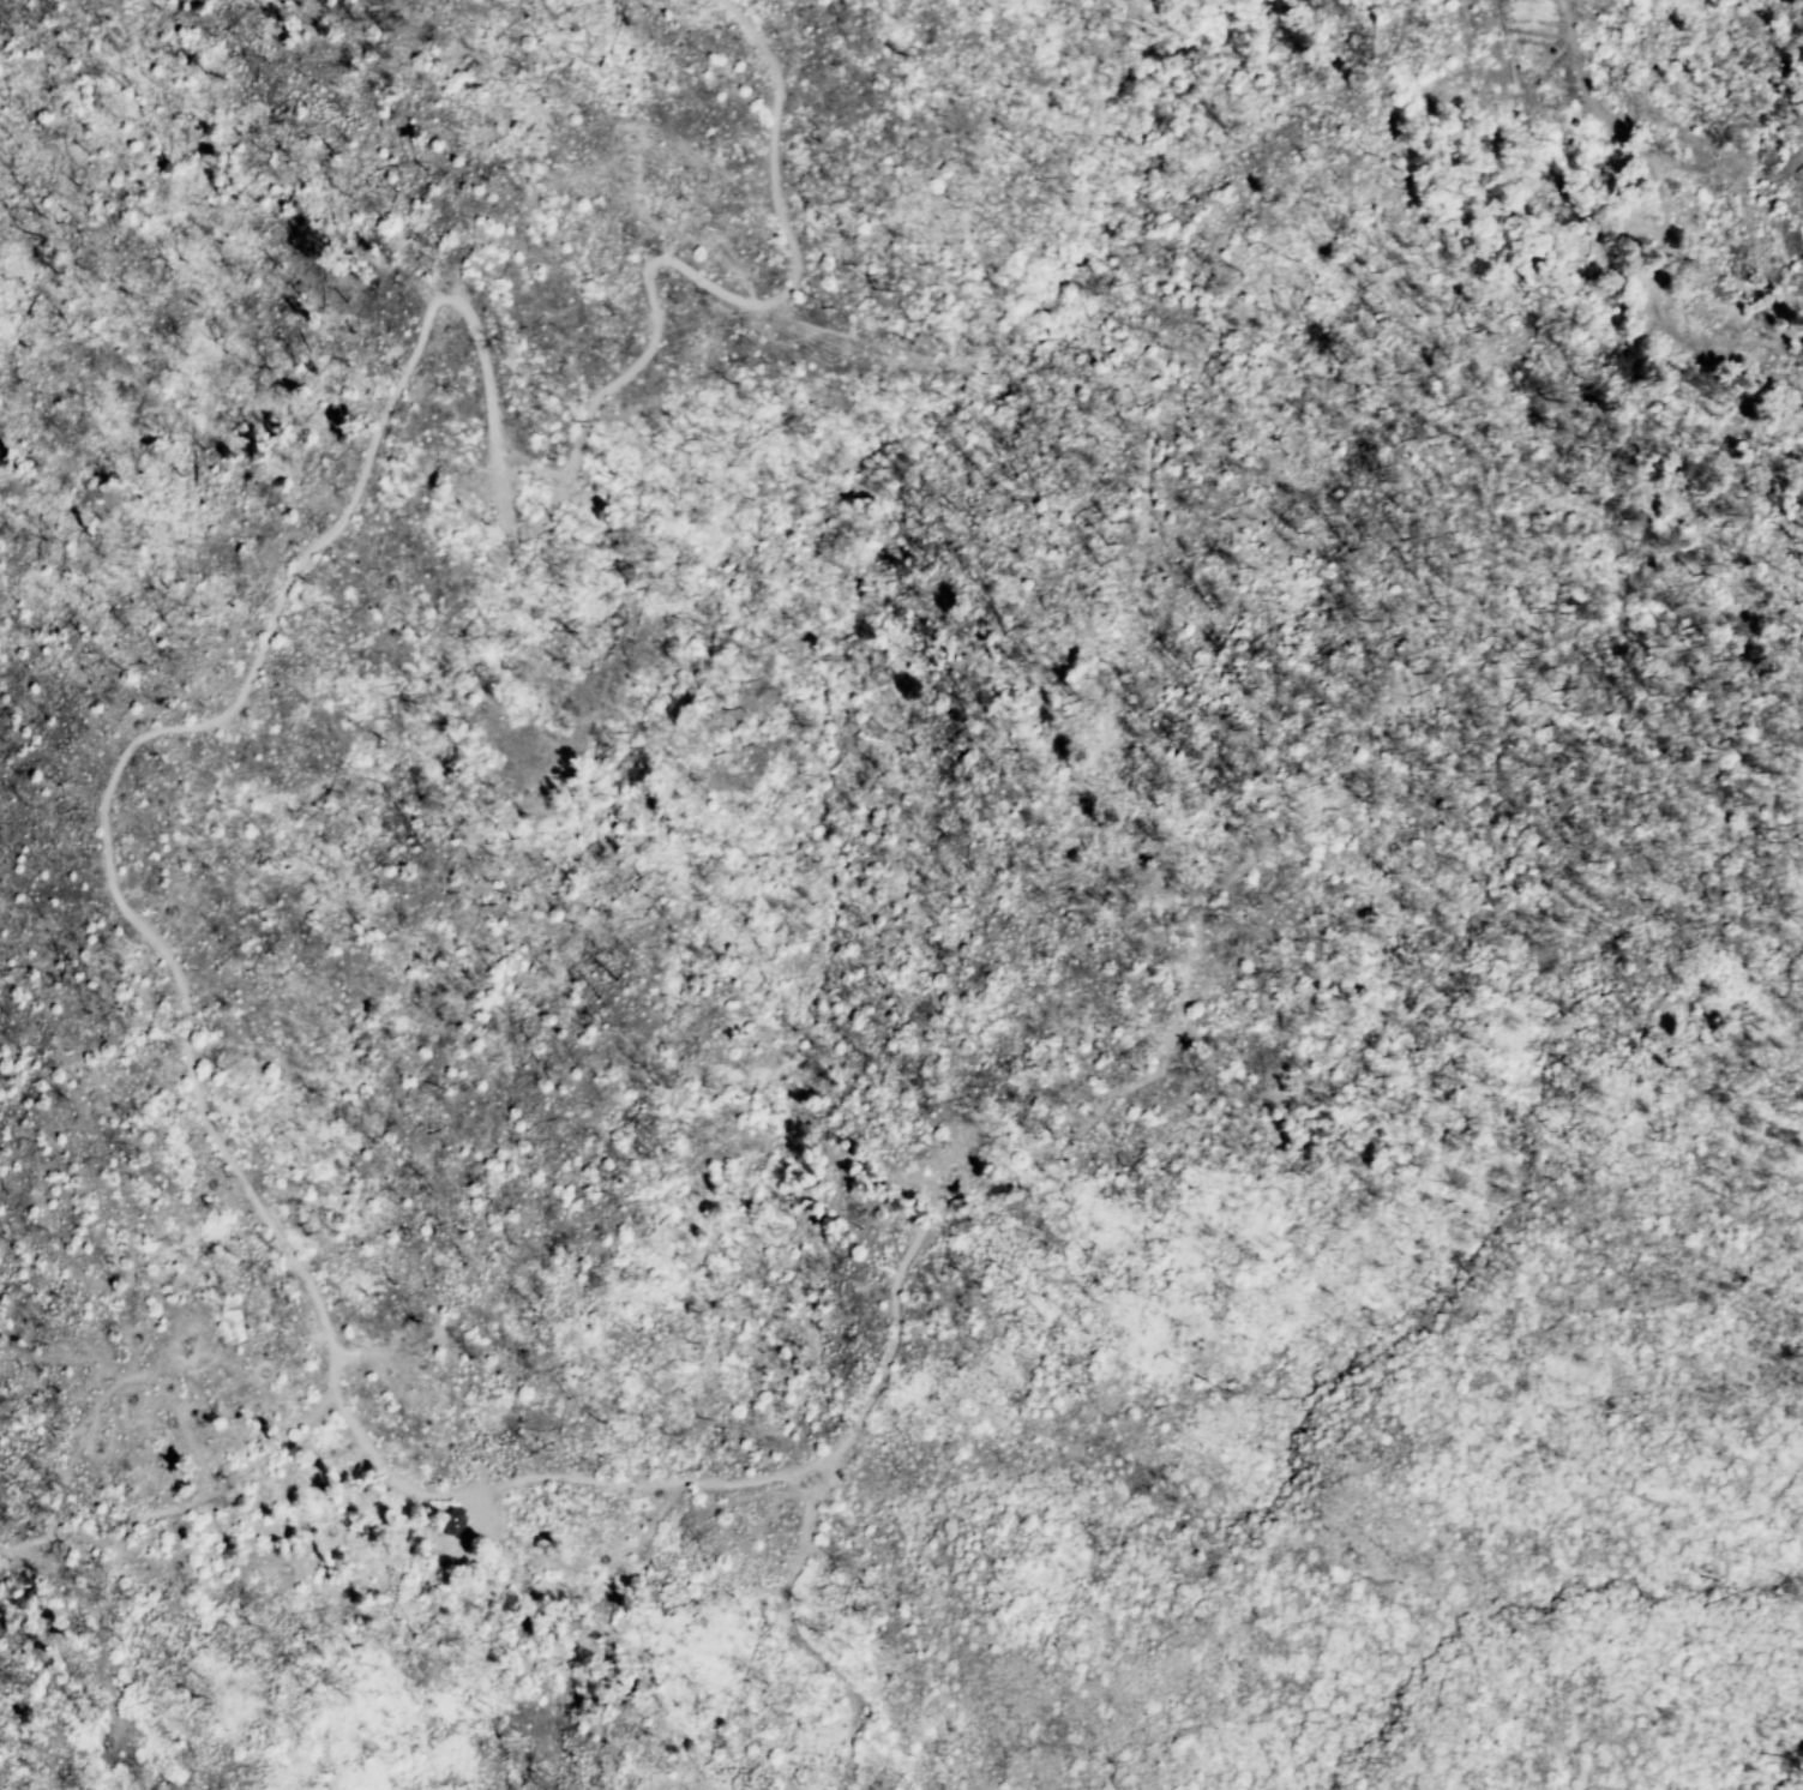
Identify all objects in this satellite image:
road: (1570, 64)

